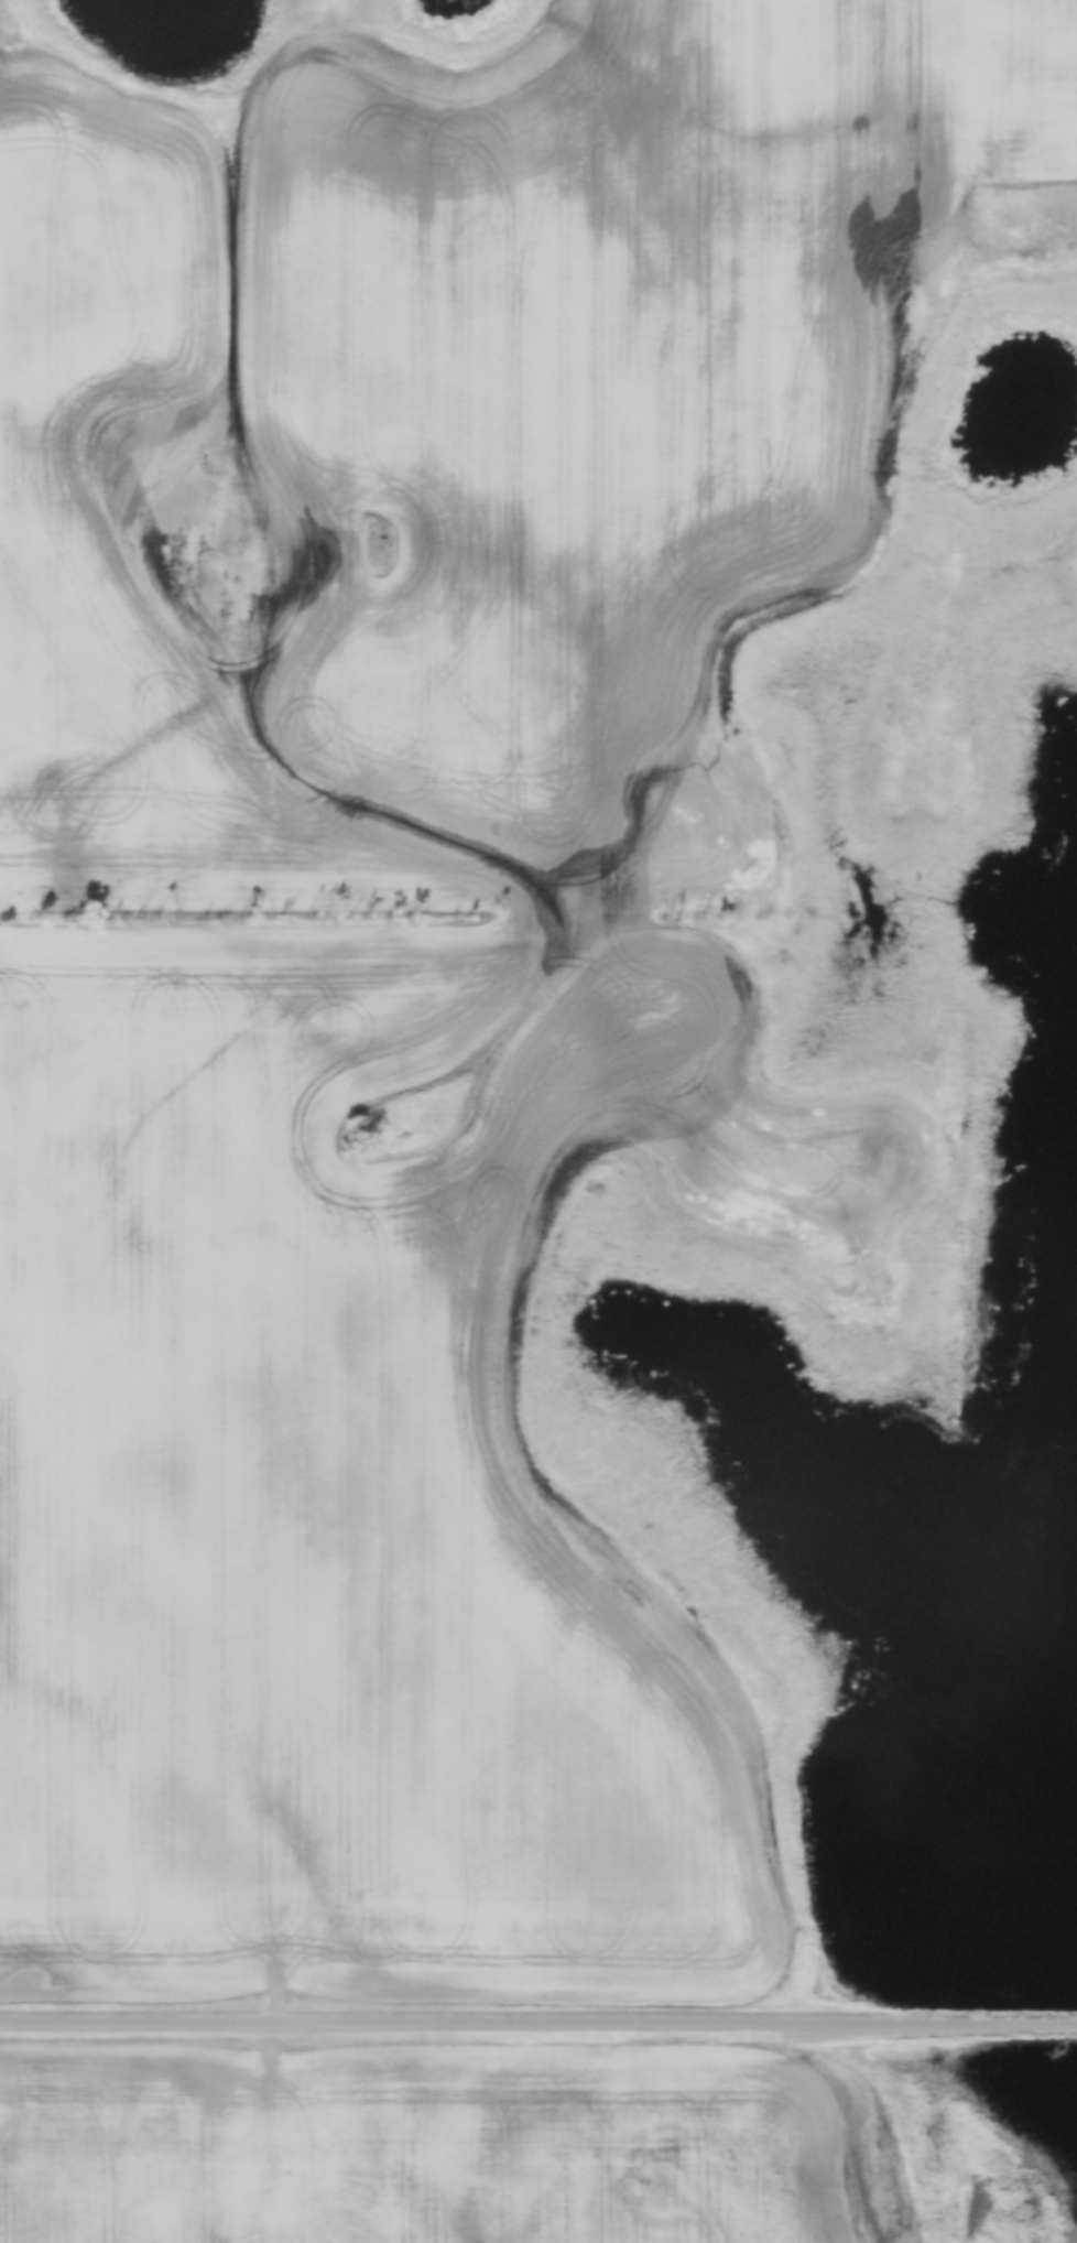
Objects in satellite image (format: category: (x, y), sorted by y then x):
road: (538, 2026)

